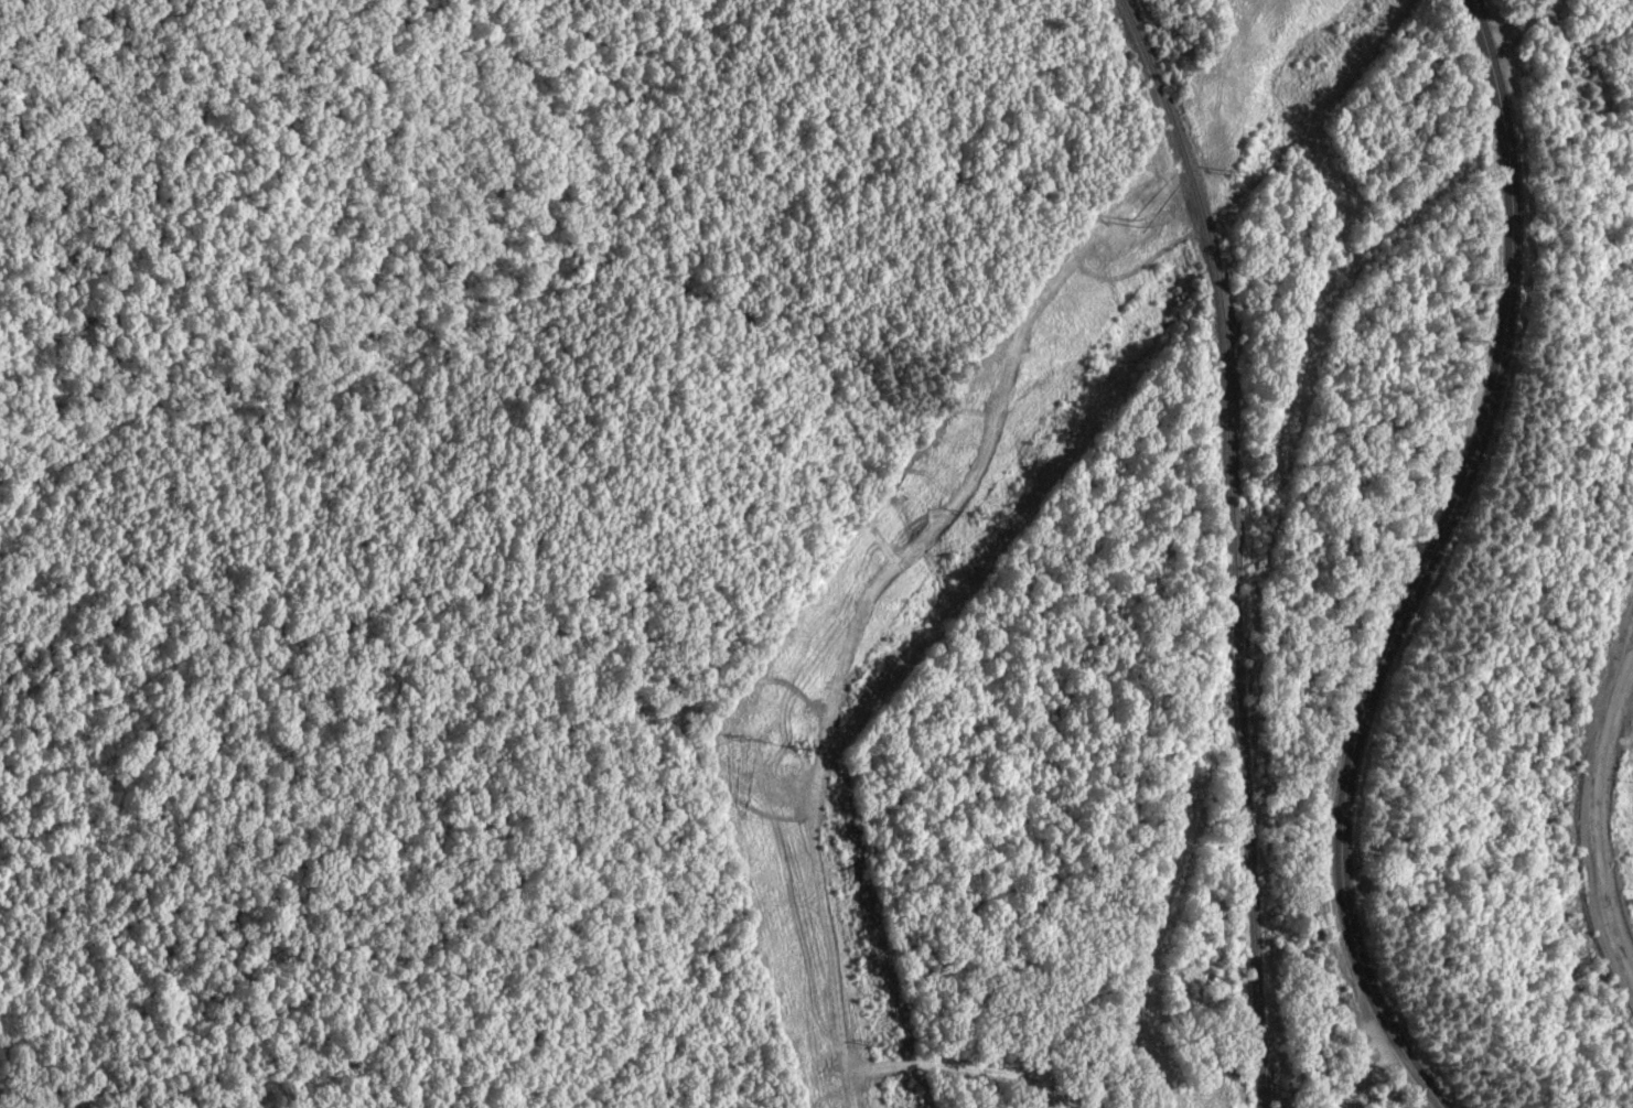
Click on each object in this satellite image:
road: (1528, 26)
railway: (1234, 546)
road: (1438, 566)
road: (1588, 845)

